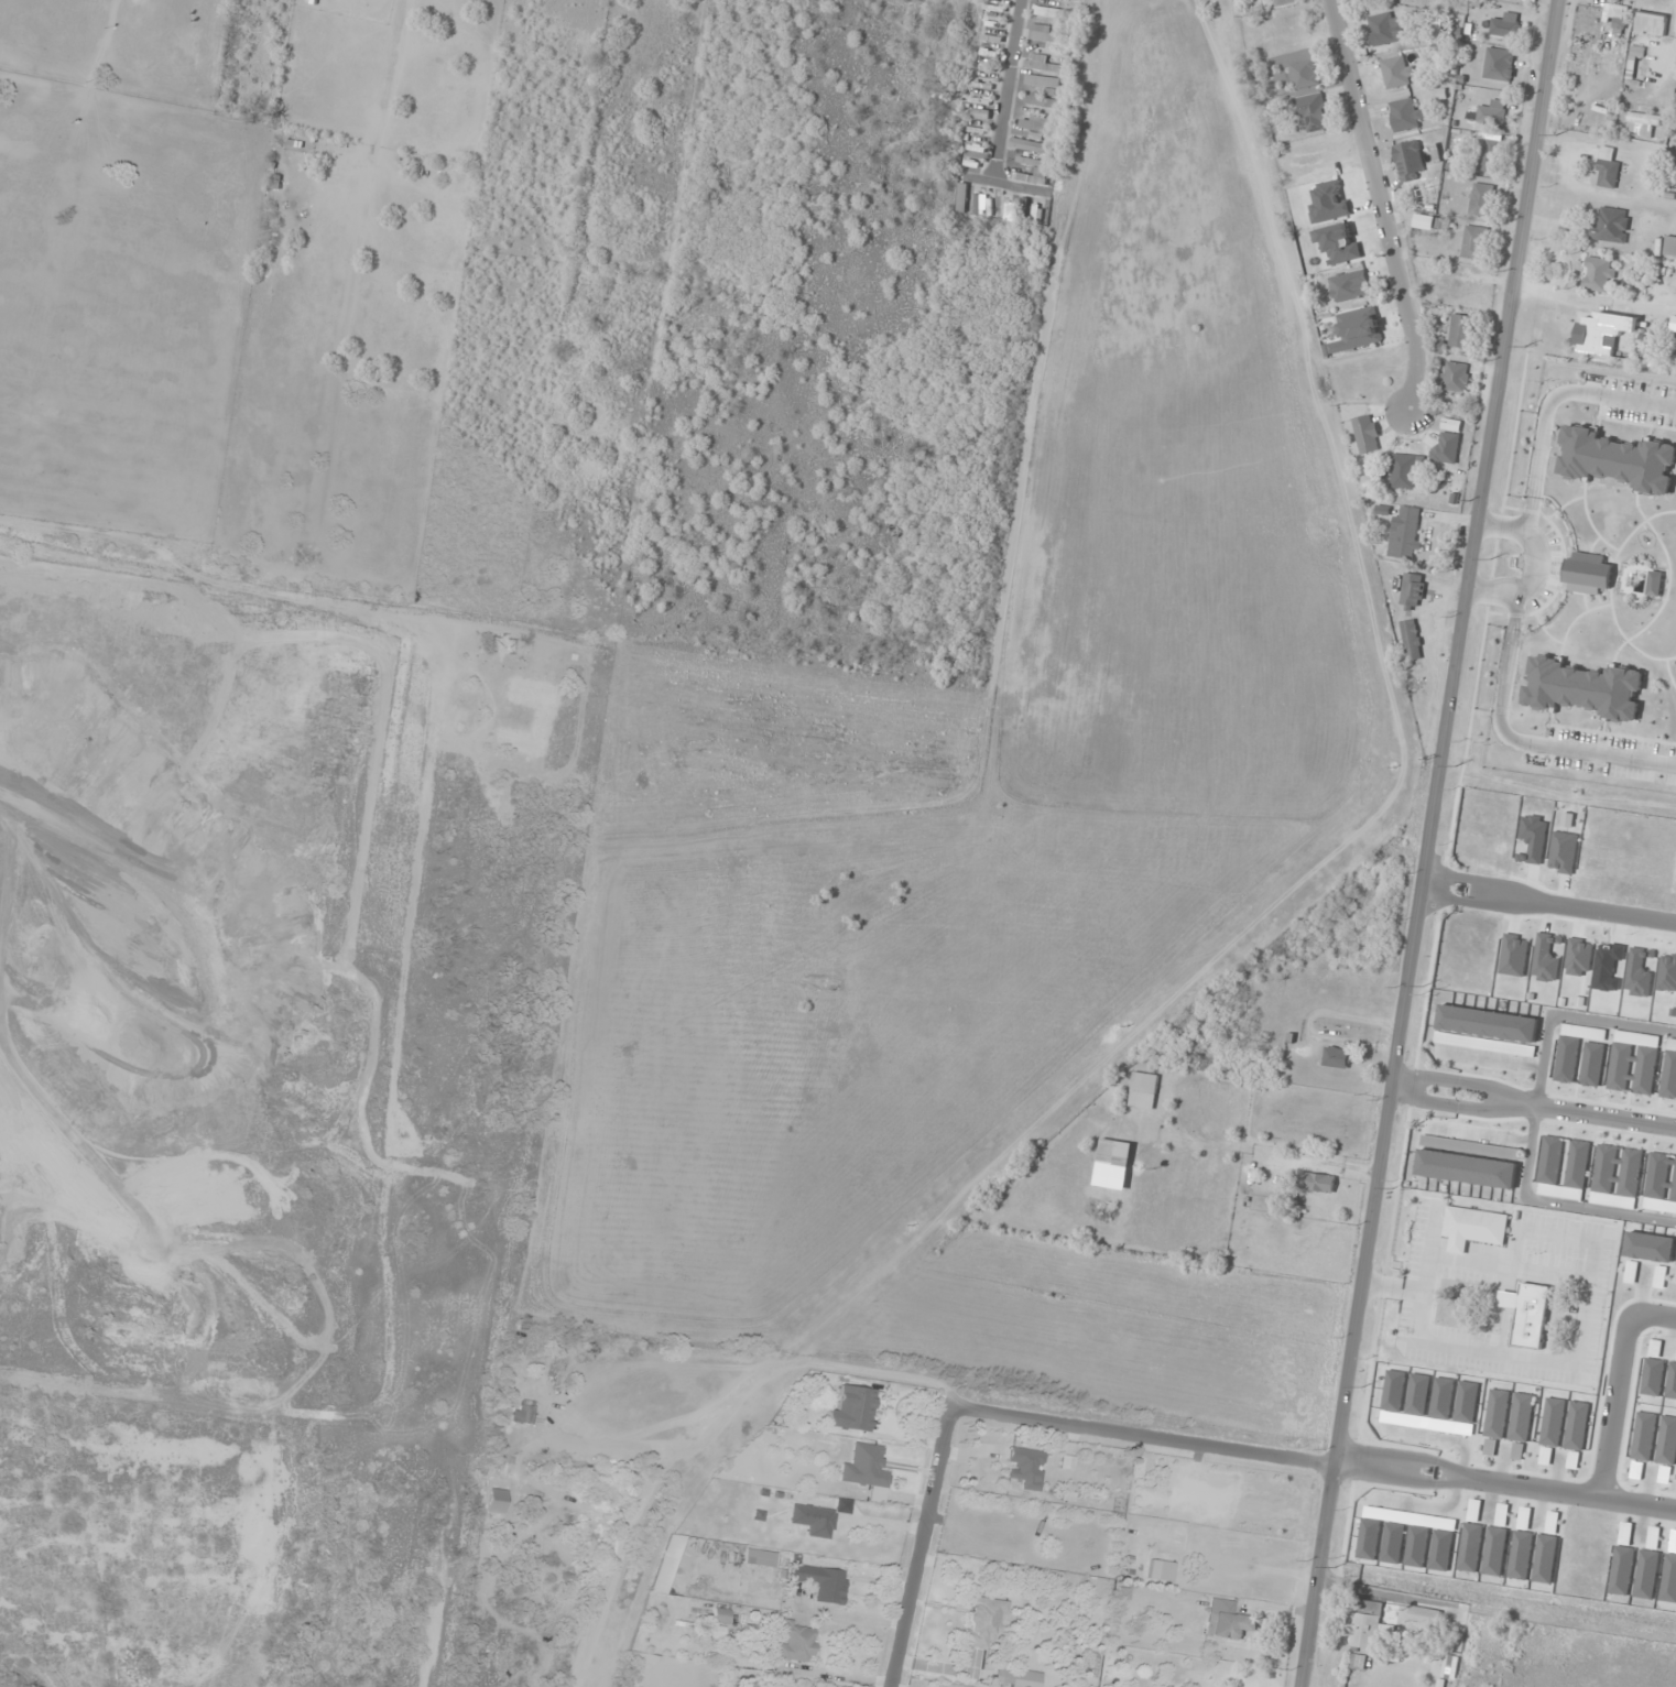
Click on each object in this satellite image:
building: (1285, 2)
building: (1051, 13)
building: (994, 23)
building: (1651, 23)
building: (1504, 24)
building: (1384, 29)
building: (1047, 37)
building: (1499, 65)
building: (1043, 72)
building: (1396, 73)
building: (1302, 75)
building: (984, 83)
road: (1005, 94)
building: (1040, 101)
building: (1492, 112)
building: (1313, 113)
building: (1405, 115)
building: (1041, 126)
building: (1643, 126)
building: (975, 138)
building: (1026, 145)
building: (1487, 153)
building: (1408, 161)
building: (1607, 174)
building: (1031, 177)
building: (1481, 200)
road: (1381, 205)
building: (1030, 210)
building: (1610, 226)
building: (1473, 242)
building: (1669, 247)
building: (1599, 275)
building: (1674, 279)
building: (1350, 286)
building: (1357, 331)
building: (1459, 331)
building: (1596, 337)
building: (1456, 377)
building: (1367, 434)
building: (1446, 448)
building: (1404, 471)
building: (1404, 534)
building: (1413, 591)
building: (1411, 640)
building: (1493, 819)
road: (1430, 843)
building: (1539, 847)
road: (1549, 906)
building: (1336, 1058)
building: (1142, 1091)
road: (1534, 1107)
road: (1537, 1120)
building: (1114, 1154)
building: (1316, 1182)
building: (1473, 1229)
road: (1424, 1281)
road: (1580, 1347)
road: (1615, 1386)
building: (852, 1410)
building: (523, 1413)
road: (1002, 1416)
road: (703, 1426)
building: (864, 1467)
building: (1026, 1468)
road: (1505, 1484)
building: (497, 1500)
building: (1554, 1508)
building: (814, 1519)
building: (759, 1558)
building: (667, 1564)
building: (820, 1580)
building: (720, 1615)
building: (1424, 1618)
building: (1228, 1620)
building: (982, 1623)
building: (1370, 1626)
building: (796, 1642)
building: (1449, 1668)
building: (1020, 1676)

